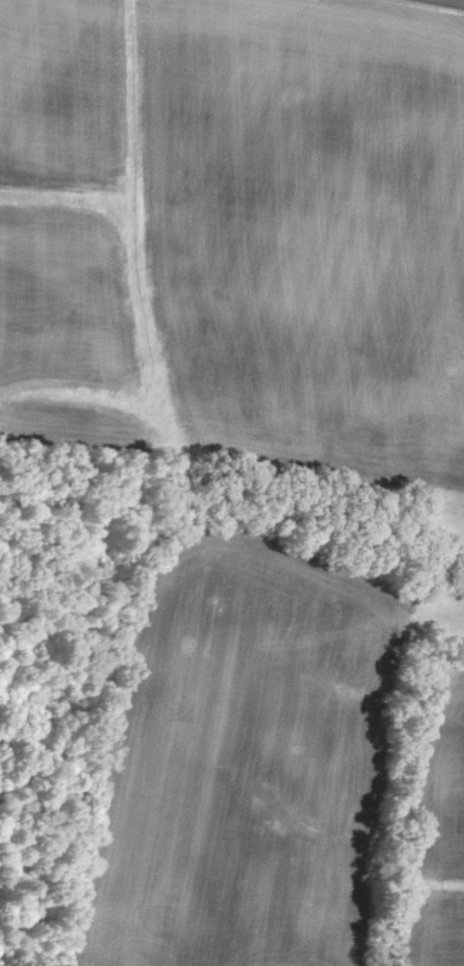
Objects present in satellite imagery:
road: (451, 2)

